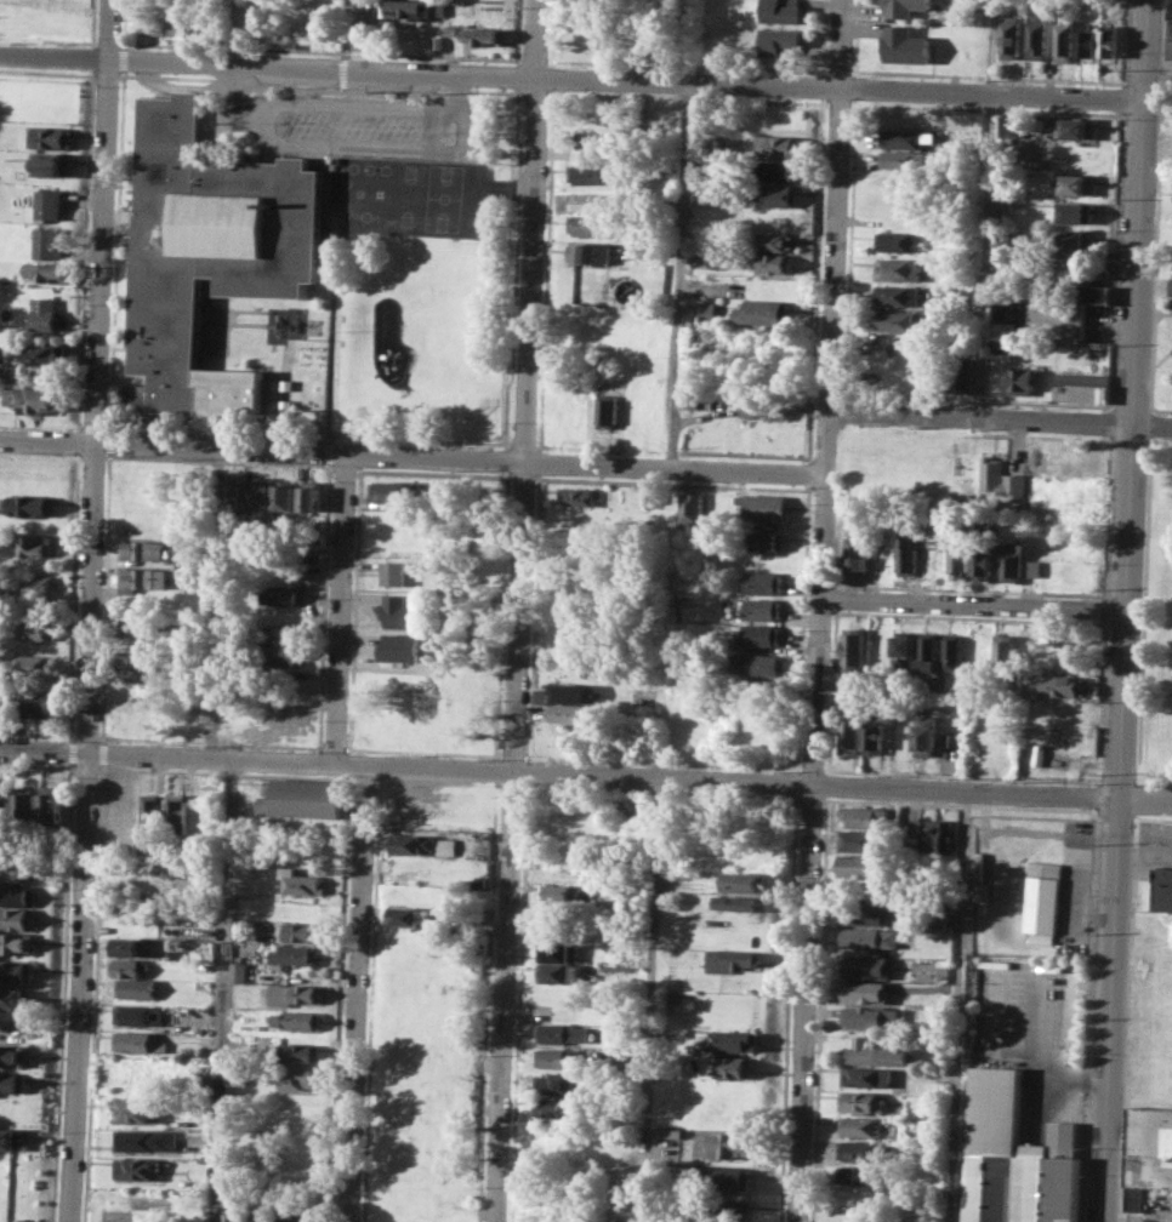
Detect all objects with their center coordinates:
building: (905, 6)
building: (410, 8)
building: (781, 11)
building: (167, 24)
building: (1170, 32)
road: (363, 34)
building: (484, 35)
building: (1009, 36)
building: (1036, 36)
building: (779, 40)
building: (1064, 40)
building: (1087, 41)
building: (1109, 42)
building: (903, 44)
road: (990, 45)
road: (181, 61)
road: (1160, 78)
road: (755, 81)
road: (455, 88)
building: (1008, 124)
parking lot: (364, 126)
building: (1075, 127)
building: (51, 137)
building: (899, 138)
road: (286, 144)
building: (778, 145)
building: (899, 159)
building: (53, 164)
building: (776, 169)
building: (587, 172)
building: (1075, 183)
building: (774, 194)
building: (46, 206)
building: (1073, 211)
building: (591, 225)
building: (1076, 239)
building: (770, 240)
building: (897, 240)
building: (50, 241)
building: (214, 247)
building: (643, 249)
building: (592, 252)
road: (983, 253)
building: (698, 256)
building: (772, 263)
building: (895, 268)
building: (49, 270)
road: (679, 274)
building: (1092, 292)
building: (894, 295)
building: (706, 307)
building: (758, 310)
building: (46, 313)
building: (894, 319)
building: (1057, 320)
building: (1002, 327)
building: (1000, 344)
building: (49, 353)
building: (1076, 354)
building: (632, 373)
building: (966, 377)
building: (1020, 379)
building: (1080, 387)
building: (688, 398)
building: (38, 399)
road: (1132, 399)
building: (764, 404)
building: (607, 409)
road: (999, 417)
road: (172, 446)
road: (585, 464)
building: (1039, 464)
building: (997, 478)
building: (389, 491)
building: (234, 493)
building: (261, 495)
building: (575, 495)
building: (286, 497)
building: (311, 497)
building: (30, 503)
building: (689, 507)
building: (761, 507)
building: (766, 541)
building: (36, 544)
building: (143, 549)
building: (854, 555)
building: (904, 555)
building: (957, 556)
building: (1011, 560)
building: (983, 563)
building: (1032, 566)
building: (394, 572)
building: (142, 577)
building: (762, 582)
building: (33, 584)
building: (283, 594)
road: (309, 596)
road: (338, 607)
building: (761, 607)
road: (972, 609)
road: (90, 610)
building: (399, 611)
road: (520, 611)
road: (819, 611)
park: (1155, 621)
building: (135, 626)
building: (35, 628)
building: (284, 632)
building: (759, 634)
building: (853, 645)
building: (399, 647)
building: (901, 650)
building: (979, 650)
building: (927, 651)
building: (952, 651)
building: (1006, 651)
building: (280, 655)
building: (132, 659)
building: (755, 663)
building: (33, 664)
building: (1060, 685)
building: (559, 692)
building: (1, 698)
building: (34, 702)
building: (569, 713)
building: (852, 729)
building: (924, 735)
building: (874, 737)
road: (166, 756)
road: (349, 764)
road: (741, 783)
building: (302, 798)
road: (1144, 799)
building: (4, 804)
building: (24, 804)
building: (51, 804)
building: (175, 813)
building: (149, 816)
building: (865, 816)
building: (934, 835)
building: (859, 839)
building: (906, 843)
building: (415, 844)
building: (860, 864)
building: (15, 869)
building: (743, 881)
building: (303, 883)
building: (1165, 889)
building: (562, 891)
building: (980, 891)
building: (17, 895)
building: (1037, 900)
building: (741, 902)
building: (865, 915)
building: (17, 918)
building: (416, 918)
building: (939, 924)
building: (301, 931)
building: (867, 937)
building: (16, 943)
building: (126, 946)
building: (557, 950)
building: (294, 954)
building: (732, 960)
building: (867, 965)
building: (127, 966)
building: (16, 970)
building: (239, 970)
building: (558, 972)
building: (135, 989)
road: (224, 990)
building: (866, 992)
building: (295, 994)
road: (357, 994)
building: (15, 999)
road: (653, 1001)
road: (956, 1007)
road: (1109, 1010)
building: (137, 1015)
building: (870, 1015)
building: (298, 1020)
building: (563, 1032)
parking lot: (1032, 1032)
building: (738, 1040)
building: (138, 1043)
building: (300, 1052)
building: (875, 1053)
building: (13, 1055)
building: (558, 1057)
building: (736, 1066)
building: (132, 1068)
building: (237, 1074)
building: (298, 1077)
building: (865, 1077)
building: (13, 1081)
building: (559, 1081)
building: (860, 1101)
building: (553, 1107)
building: (135, 1110)
building: (296, 1115)
building: (859, 1125)
building: (671, 1132)
building: (11, 1138)
building: (148, 1140)
building: (722, 1144)
building: (859, 1152)
building: (1148, 1153)
building: (1015, 1159)
building: (295, 1166)
building: (138, 1169)
building: (858, 1174)
building: (723, 1177)
building: (728, 1209)
building: (233, 1215)
building: (288, 1216)
building: (312, 1216)
building: (260, 1217)

